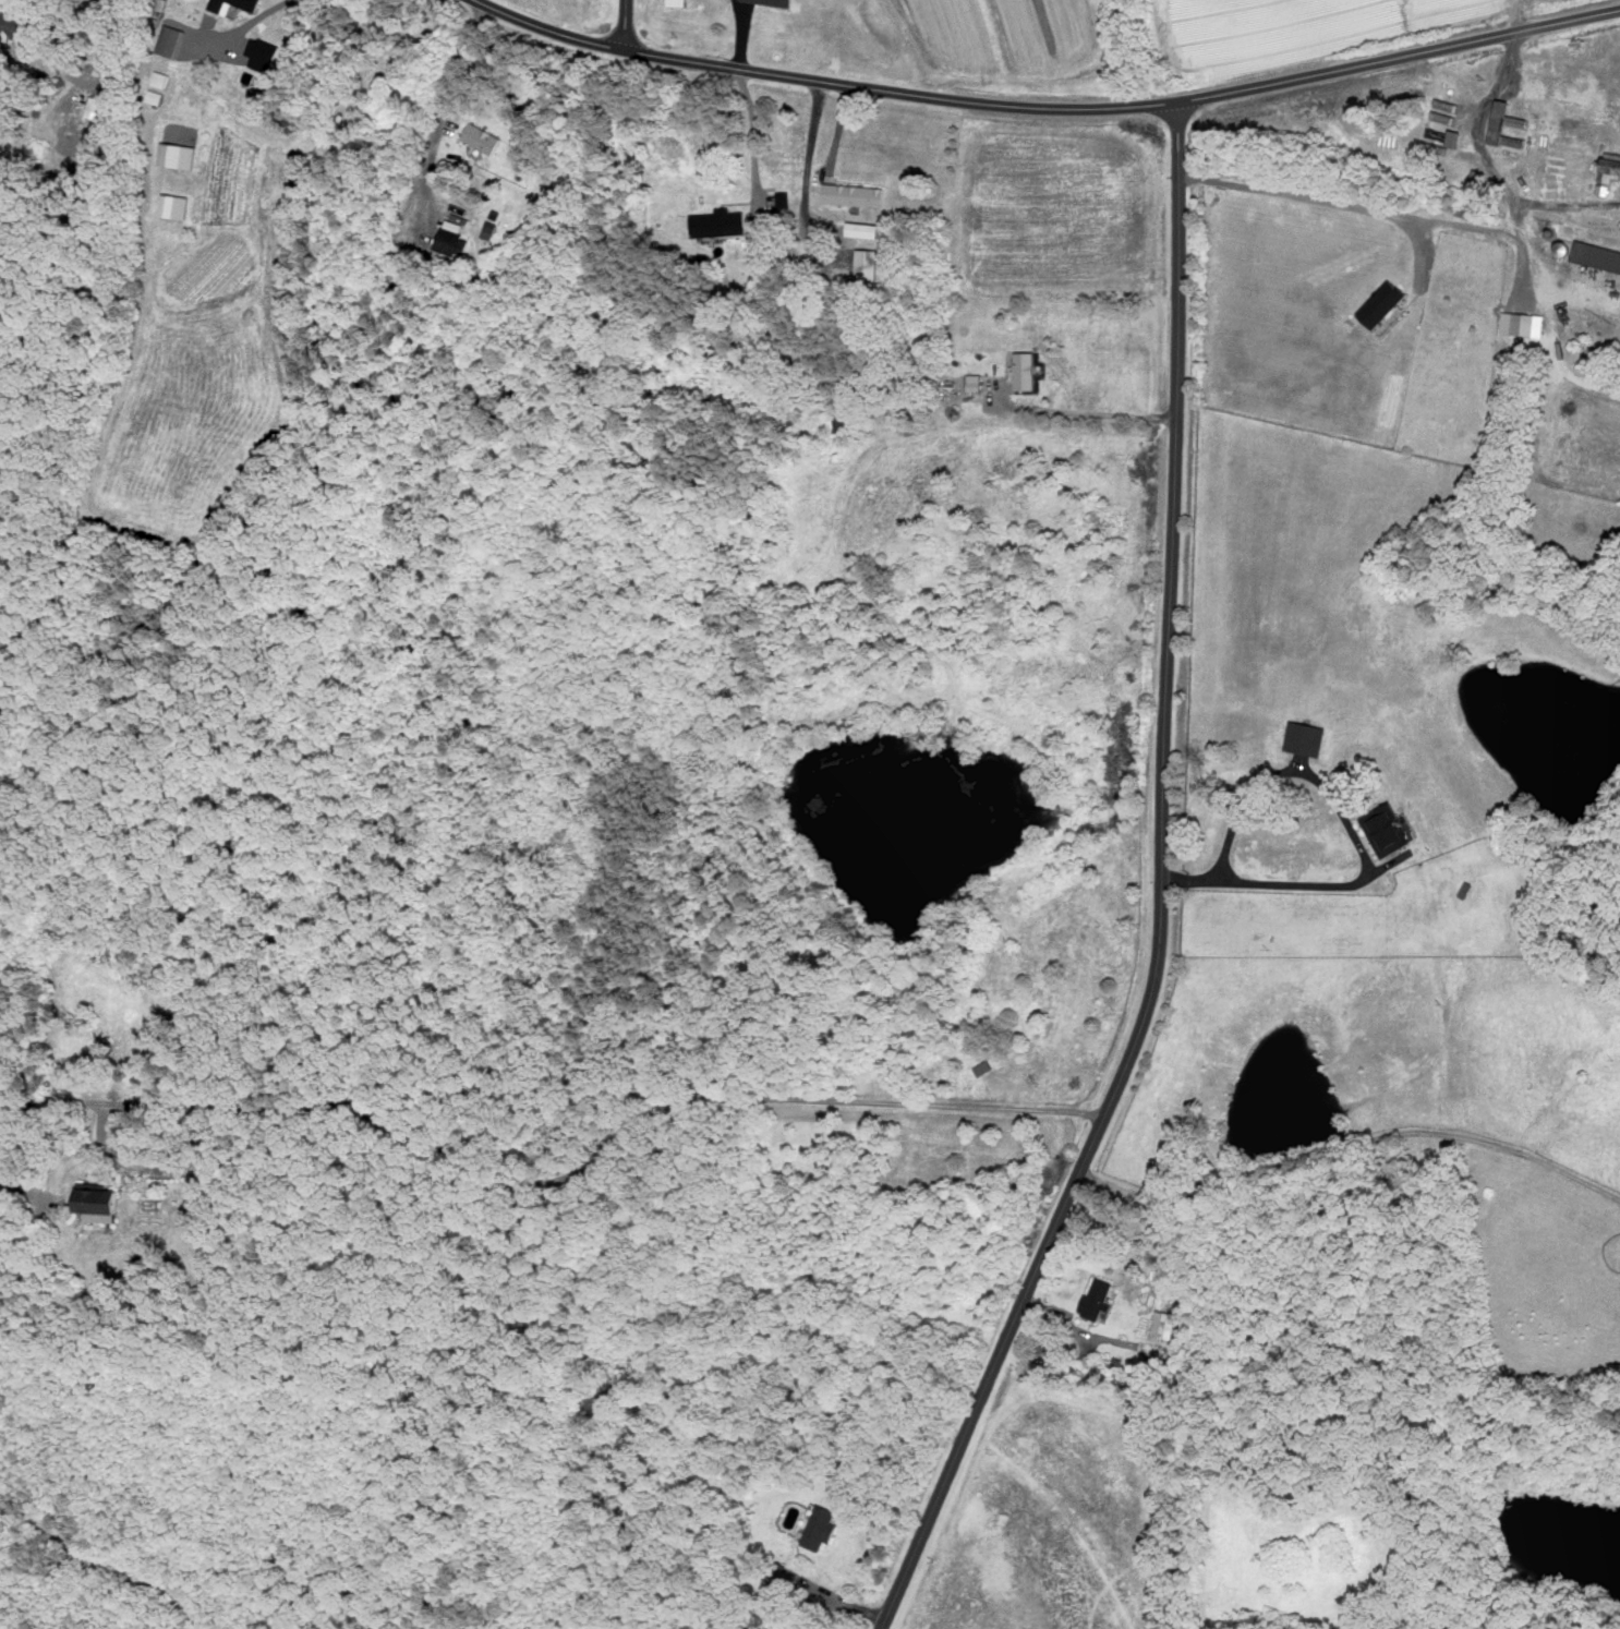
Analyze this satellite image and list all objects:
building: (679, 2)
building: (778, 2)
building: (247, 5)
road: (69, 13)
road: (625, 24)
building: (17, 26)
road: (239, 26)
road: (740, 33)
building: (169, 41)
building: (261, 56)
road: (440, 104)
road: (1048, 107)
building: (1501, 126)
building: (481, 137)
building: (1454, 138)
building: (1516, 143)
road: (753, 146)
building: (180, 154)
road: (1484, 164)
building: (1611, 167)
road: (808, 168)
building: (853, 195)
building: (169, 204)
road: (1357, 205)
building: (717, 224)
building: (451, 239)
building: (1596, 256)
building: (865, 264)
building: (1379, 305)
building: (720, 353)
building: (1025, 372)
building: (974, 383)
road: (1085, 411)
building: (1303, 737)
road: (1290, 770)
building: (1385, 829)
road: (1292, 882)
building: (1464, 889)
road: (1162, 892)
road: (38, 1135)
road: (1350, 1146)
road: (179, 1148)
road: (154, 1169)
road: (552, 1180)
road: (19, 1182)
building: (100, 1198)
building: (1093, 1299)
building: (1162, 1324)
building: (818, 1529)
building: (775, 1571)
building: (786, 1574)

